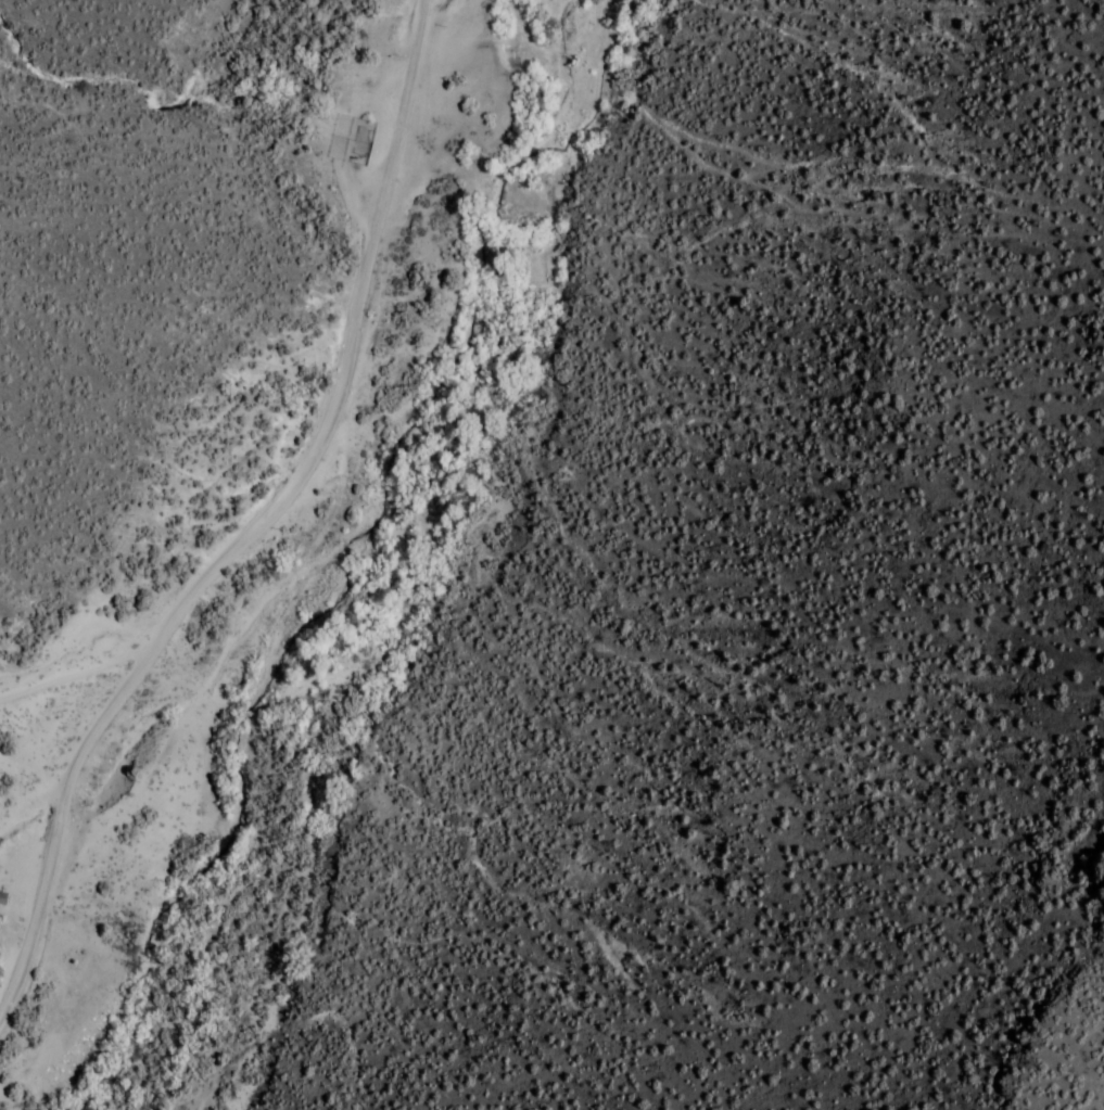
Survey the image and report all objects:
road: (253, 531)
building: (3, 900)

